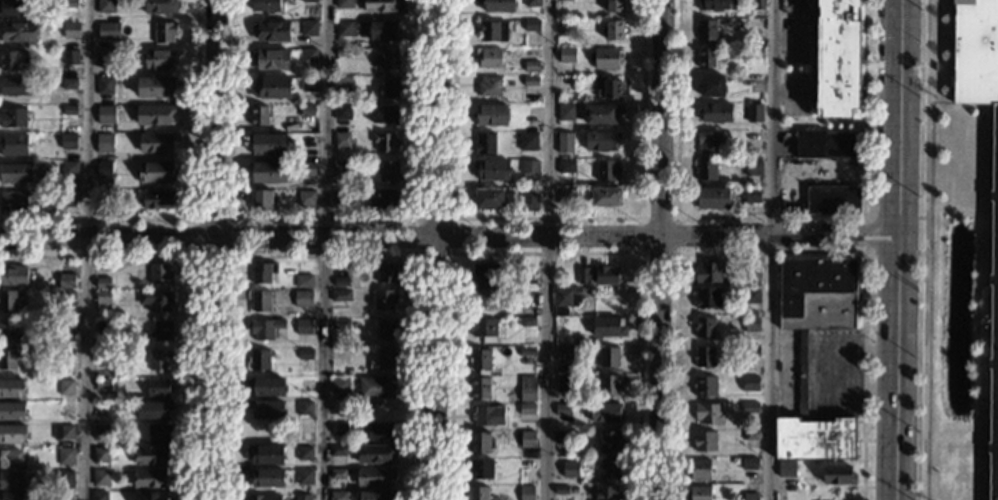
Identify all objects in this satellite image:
building: (568, 0)
building: (309, 1)
building: (532, 3)
building: (69, 4)
building: (343, 4)
building: (756, 4)
building: (497, 5)
building: (716, 5)
building: (105, 6)
building: (160, 6)
building: (265, 6)
building: (381, 6)
building: (613, 6)
building: (11, 8)
road: (793, 13)
building: (79, 20)
building: (357, 25)
building: (530, 25)
building: (566, 27)
building: (308, 29)
building: (345, 29)
building: (70, 30)
building: (382, 30)
building: (492, 30)
building: (613, 30)
building: (705, 30)
building: (17, 31)
building: (108, 31)
building: (270, 31)
building: (164, 32)
parking lot: (793, 39)
road: (789, 40)
road: (812, 46)
building: (342, 52)
building: (755, 52)
building: (352, 54)
building: (308, 56)
building: (567, 56)
building: (69, 57)
building: (104, 57)
building: (12, 58)
building: (488, 58)
building: (606, 58)
building: (708, 58)
building: (843, 58)
building: (158, 59)
building: (270, 59)
building: (389, 59)
building: (531, 67)
building: (531, 82)
building: (68, 83)
building: (308, 84)
building: (104, 85)
building: (13, 86)
building: (341, 86)
building: (710, 86)
building: (155, 87)
building: (389, 87)
building: (488, 87)
building: (271, 88)
building: (609, 90)
road: (792, 93)
parking lot: (794, 94)
building: (68, 110)
building: (341, 112)
building: (564, 112)
building: (714, 113)
building: (753, 113)
building: (105, 114)
building: (153, 114)
building: (307, 114)
building: (383, 114)
building: (601, 114)
building: (258, 115)
building: (490, 115)
building: (12, 118)
building: (67, 141)
building: (340, 141)
building: (526, 141)
building: (601, 141)
building: (155, 142)
building: (308, 142)
building: (385, 142)
building: (707, 142)
building: (104, 143)
building: (268, 143)
building: (483, 143)
building: (564, 143)
building: (13, 144)
building: (826, 144)
building: (341, 165)
building: (295, 167)
building: (530, 167)
building: (565, 167)
building: (68, 168)
building: (751, 168)
building: (102, 169)
building: (387, 169)
building: (491, 169)
building: (306, 170)
building: (704, 170)
road: (825, 170)
building: (605, 171)
building: (155, 172)
building: (266, 172)
building: (16, 173)
building: (751, 195)
building: (566, 196)
building: (103, 197)
building: (340, 197)
building: (603, 197)
building: (66, 198)
building: (305, 198)
building: (712, 198)
building: (157, 199)
building: (261, 199)
building: (382, 199)
building: (485, 199)
building: (529, 200)
building: (832, 200)
building: (14, 201)
road: (196, 207)
road: (770, 217)
road: (546, 218)
road: (229, 219)
road: (322, 219)
road: (865, 234)
road: (449, 238)
road: (85, 249)
road: (324, 249)
road: (437, 249)
road: (547, 249)
road: (659, 249)
road: (771, 249)
road: (898, 249)
road: (215, 250)
road: (925, 250)
road: (770, 252)
road: (322, 253)
road: (546, 253)
road: (674, 253)
road: (452, 254)
building: (261, 272)
building: (708, 272)
building: (484, 273)
building: (12, 274)
building: (159, 274)
building: (385, 274)
building: (605, 274)
building: (582, 276)
building: (750, 277)
road: (194, 279)
building: (526, 279)
building: (65, 280)
building: (302, 280)
building: (339, 281)
building: (102, 283)
building: (817, 293)
building: (526, 294)
building: (302, 295)
building: (339, 295)
building: (564, 295)
building: (751, 295)
building: (101, 296)
building: (65, 298)
building: (483, 298)
building: (706, 298)
building: (154, 299)
building: (7, 300)
building: (258, 300)
building: (382, 300)
building: (994, 303)
building: (559, 311)
building: (574, 319)
building: (527, 321)
building: (751, 323)
building: (339, 324)
building: (102, 326)
building: (607, 326)
building: (63, 327)
building: (303, 327)
building: (385, 328)
building: (703, 328)
building: (9, 329)
building: (264, 329)
building: (482, 329)
building: (161, 331)
building: (497, 342)
building: (750, 351)
building: (526, 352)
building: (64, 353)
building: (305, 354)
building: (563, 355)
building: (101, 356)
building: (703, 356)
building: (608, 357)
building: (7, 358)
building: (158, 359)
building: (257, 359)
building: (382, 360)
building: (479, 361)
road: (841, 367)
building: (348, 373)
building: (801, 374)
parking lot: (833, 374)
building: (562, 383)
building: (101, 384)
building: (750, 384)
building: (304, 385)
building: (608, 385)
building: (339, 386)
building: (705, 386)
building: (267, 387)
building: (375, 387)
building: (11, 388)
building: (65, 388)
building: (157, 388)
building: (479, 388)
building: (526, 389)
building: (749, 407)
building: (66, 408)
building: (302, 408)
building: (152, 409)
building: (264, 409)
building: (526, 409)
building: (11, 410)
building: (562, 410)
building: (603, 412)
building: (707, 413)
building: (487, 416)
building: (337, 428)
building: (101, 431)
building: (378, 432)
building: (12, 433)
building: (158, 433)
building: (61, 434)
building: (751, 435)
building: (562, 436)
building: (527, 439)
building: (814, 439)
building: (705, 441)
building: (608, 442)
building: (480, 443)
building: (337, 451)
building: (303, 453)
building: (99, 454)
building: (264, 454)
building: (373, 454)
building: (64, 455)
building: (151, 455)
building: (9, 456)
building: (337, 460)
building: (749, 463)
building: (525, 464)
building: (609, 469)
building: (479, 470)
building: (570, 470)
building: (700, 470)
building: (785, 470)
building: (336, 474)
building: (837, 475)
building: (374, 476)
building: (151, 477)
building: (263, 477)
building: (303, 477)
building: (100, 478)
building: (11, 479)
building: (61, 479)
building: (560, 490)
building: (475, 493)
building: (526, 493)
building: (607, 493)
building: (698, 493)
building: (98, 495)
building: (150, 495)
building: (338, 495)
building: (375, 495)
building: (11, 496)
building: (63, 496)
building: (750, 496)
building: (263, 497)
building: (302, 497)

